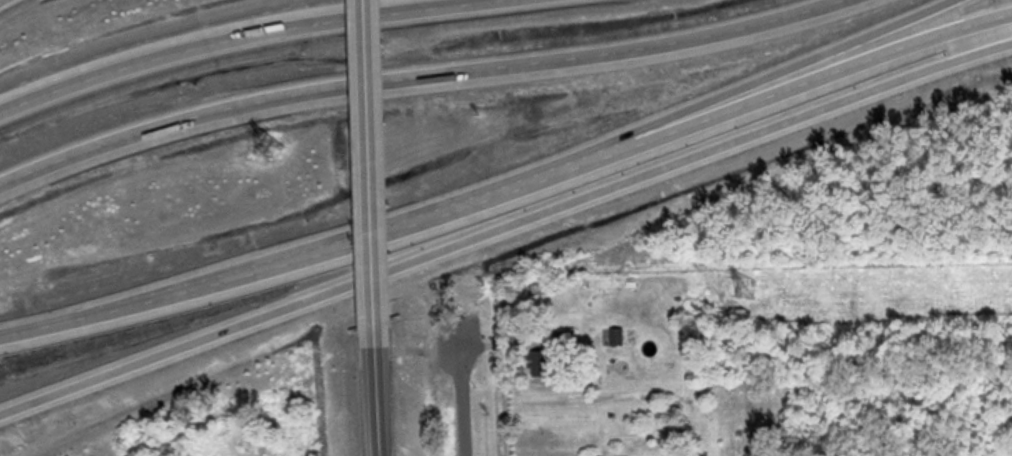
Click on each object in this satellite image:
road: (2, 1)
road: (225, 35)
road: (366, 40)
road: (421, 76)
road: (698, 111)
road: (724, 115)
building: (269, 144)
road: (369, 144)
power tower: (272, 146)
road: (505, 228)
road: (374, 264)
road: (220, 285)
power tower: (748, 288)
building: (621, 336)
building: (542, 362)
road: (382, 389)
road: (456, 402)
building: (218, 431)

